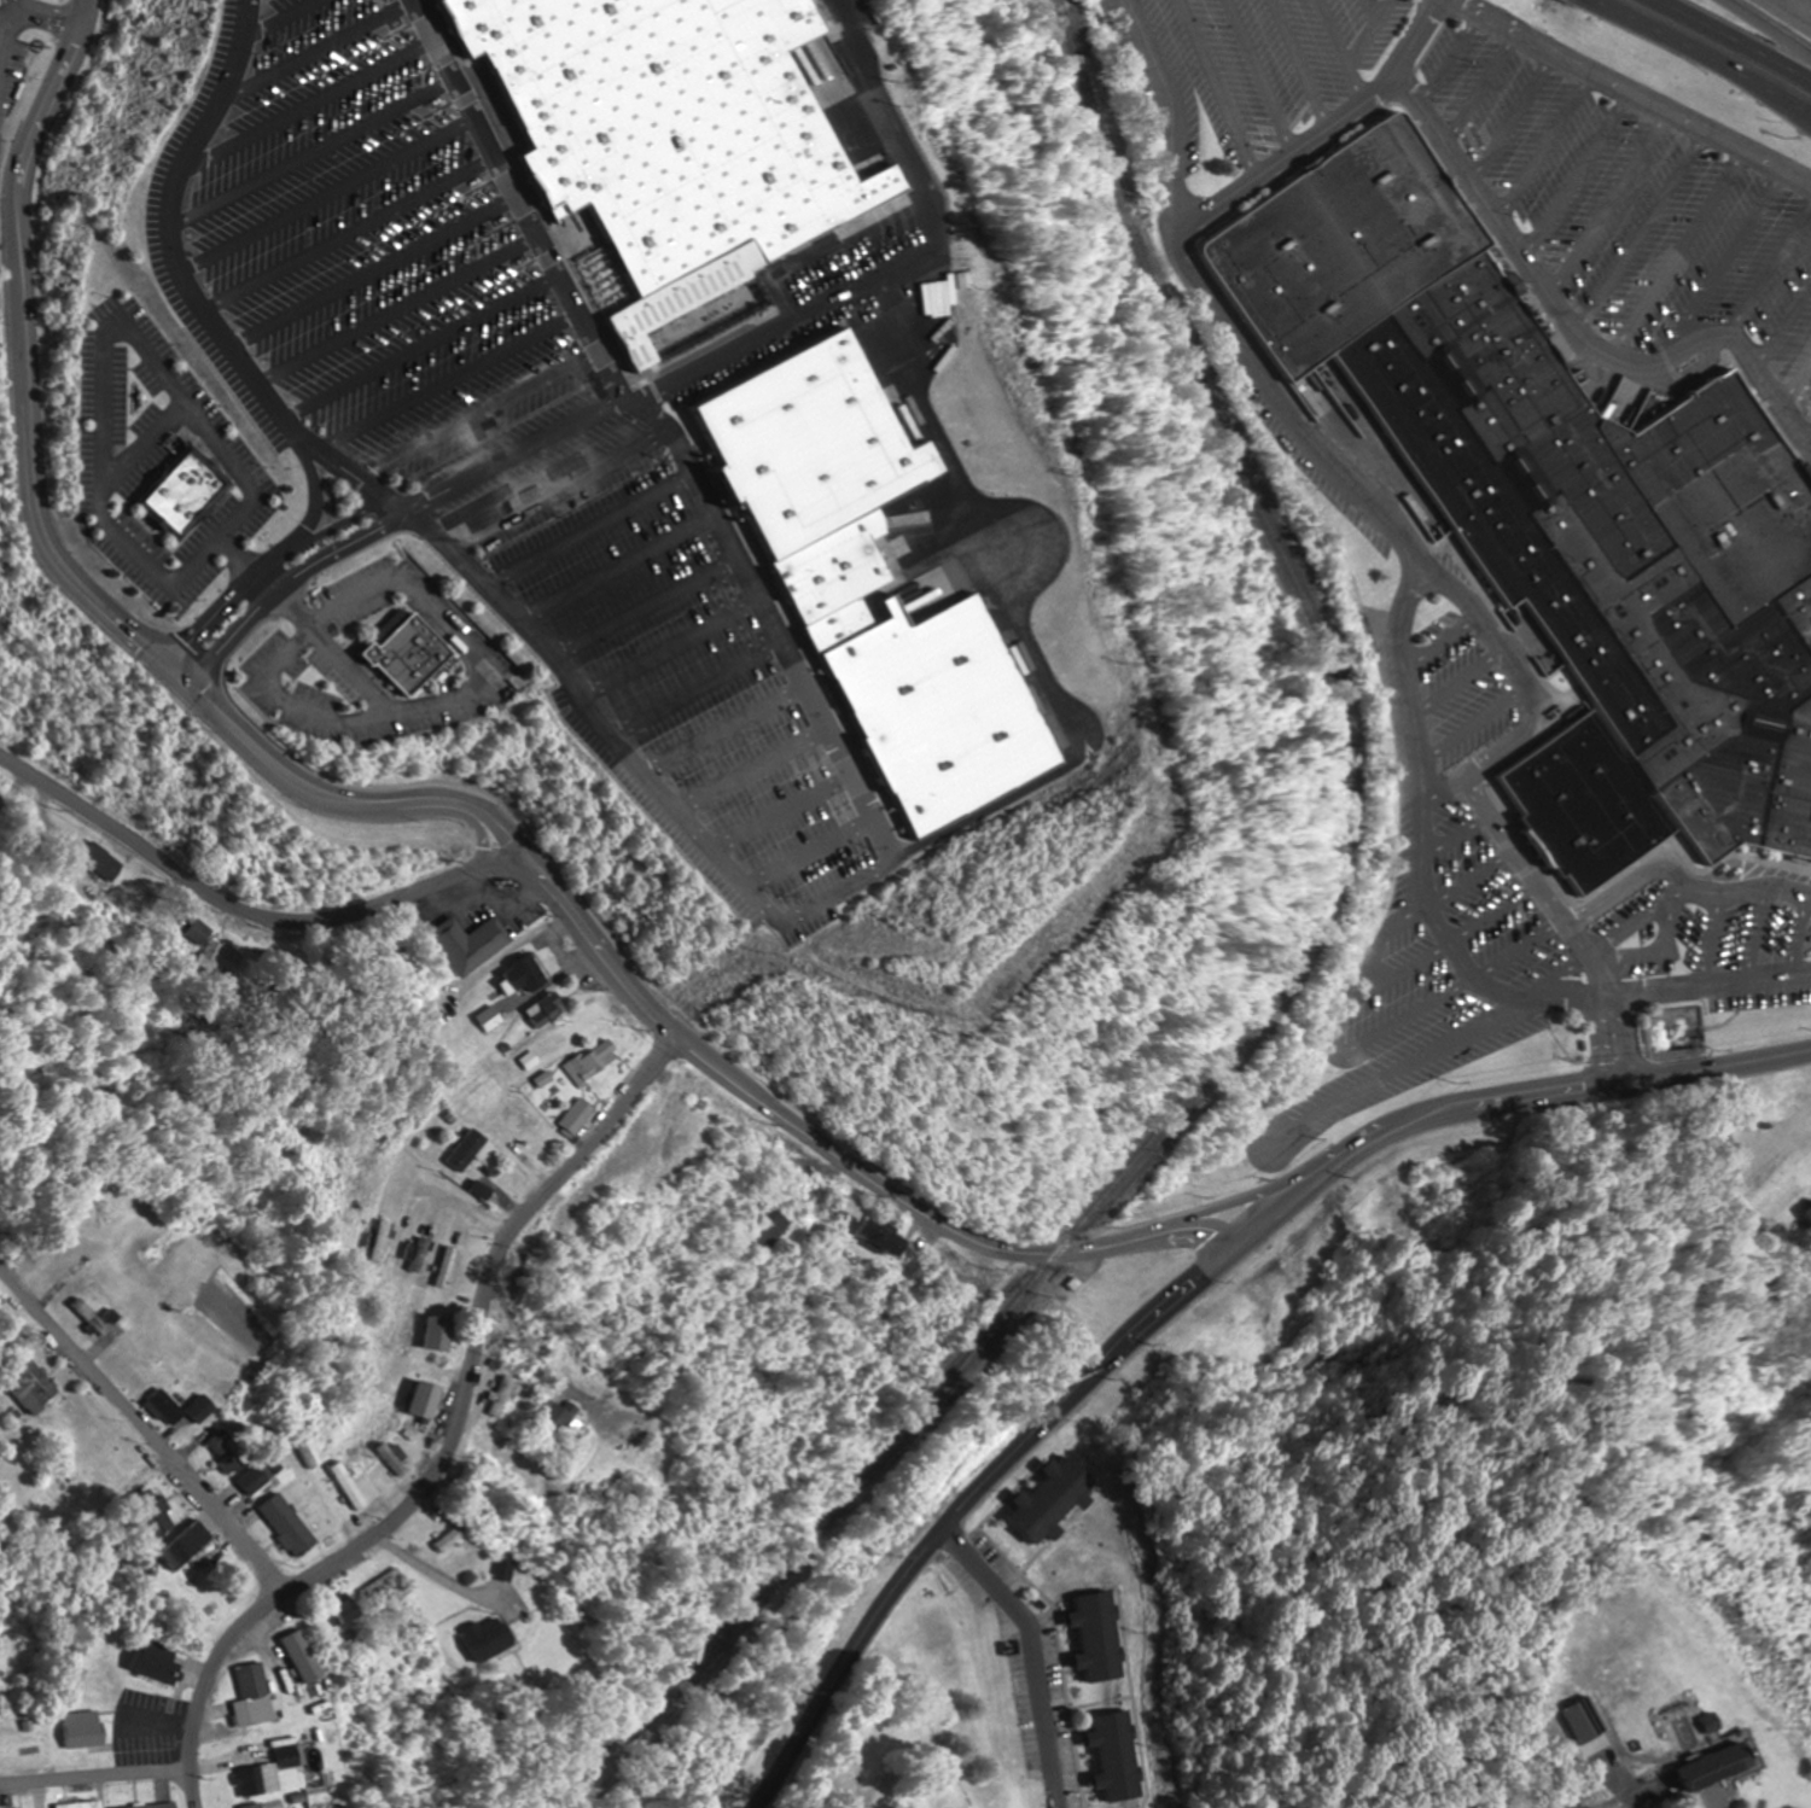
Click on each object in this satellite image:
road: (1379, 8)
road: (1795, 11)
road: (279, 16)
road: (1374, 30)
road: (1765, 30)
road: (1734, 39)
road: (1347, 47)
road: (316, 48)
road: (1704, 53)
road: (1455, 59)
road: (1308, 60)
road: (1265, 72)
road: (1225, 84)
road: (1637, 87)
road: (1486, 88)
road: (305, 104)
road: (1519, 117)
road: (891, 122)
road: (1320, 130)
building: (664, 136)
road: (1549, 145)
road: (310, 152)
road: (1583, 174)
road: (326, 193)
road: (1615, 204)
parking lot: (1629, 204)
road: (349, 232)
road: (1649, 232)
building: (1347, 245)
road: (1685, 251)
road: (1736, 257)
road: (901, 264)
road: (371, 269)
road: (1771, 272)
building: (965, 279)
road: (192, 287)
road: (394, 308)
building: (941, 323)
road: (1571, 325)
road: (1786, 334)
road: (755, 343)
road: (418, 345)
railway: (1498, 357)
road: (107, 358)
road: (449, 383)
road: (1799, 391)
road: (477, 414)
road: (660, 420)
building: (1691, 438)
building: (814, 439)
road: (150, 444)
road: (511, 451)
road: (555, 484)
road: (314, 492)
building: (185, 497)
road: (583, 525)
building: (1748, 526)
road: (1413, 549)
road: (239, 556)
road: (54, 559)
road: (267, 560)
building: (1599, 560)
road: (613, 566)
building: (839, 568)
road: (263, 581)
road: (279, 584)
road: (369, 589)
road: (641, 606)
road: (293, 611)
road: (1018, 623)
road: (1440, 640)
road: (665, 647)
building: (409, 655)
traffic signals: (171, 669)
road: (355, 672)
road: (1460, 683)
road: (689, 687)
building: (943, 706)
road: (716, 728)
road: (1473, 728)
road: (627, 763)
road: (745, 770)
road: (1445, 793)
building: (1588, 803)
road: (774, 813)
road: (1454, 839)
road: (1419, 842)
road: (803, 856)
building: (101, 859)
road: (1678, 869)
road: (1468, 882)
road: (245, 912)
road: (1492, 917)
road: (1638, 921)
building: (193, 932)
road: (1764, 938)
road: (1387, 939)
road: (1717, 940)
building: (470, 944)
road: (1803, 949)
road: (1518, 950)
road: (1671, 951)
railway: (1671, 973)
building: (520, 978)
road: (1551, 982)
road: (1705, 993)
railway: (1260, 1002)
building: (548, 1005)
building: (485, 1017)
railway: (1429, 1019)
road: (1343, 1037)
building: (589, 1062)
road: (1393, 1066)
building: (466, 1149)
building: (879, 1240)
road: (1117, 1244)
building: (415, 1254)
building: (444, 1266)
building: (97, 1317)
building: (441, 1334)
road: (554, 1377)
building: (31, 1386)
building: (501, 1395)
building: (427, 1400)
building: (180, 1407)
road: (141, 1430)
road: (449, 1439)
building: (225, 1450)
building: (256, 1479)
building: (347, 1485)
building: (1052, 1500)
road: (960, 1503)
building: (287, 1524)
building: (454, 1536)
building: (186, 1545)
building: (380, 1580)
building: (348, 1611)
building: (1096, 1635)
building: (489, 1639)
road: (1030, 1654)
building: (302, 1657)
building: (153, 1660)
building: (254, 1695)
building: (1574, 1726)
building: (82, 1728)
building: (289, 1755)
building: (1116, 1755)
road: (97, 1775)
building: (255, 1775)
building: (152, 1804)
building: (85, 1806)
building: (254, 1806)
building: (42, 1807)

